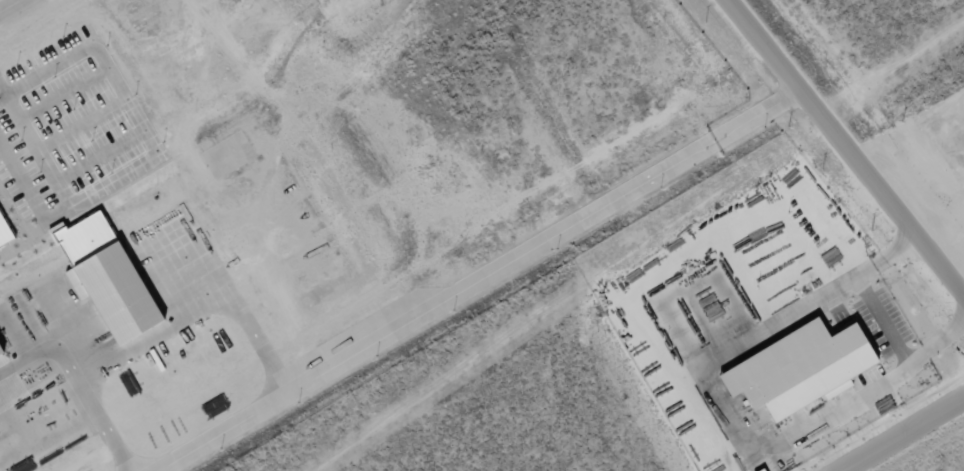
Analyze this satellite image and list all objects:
road: (843, 151)
building: (5, 232)
building: (109, 276)
road: (881, 322)
building: (1, 352)
building: (802, 368)
road: (900, 432)

